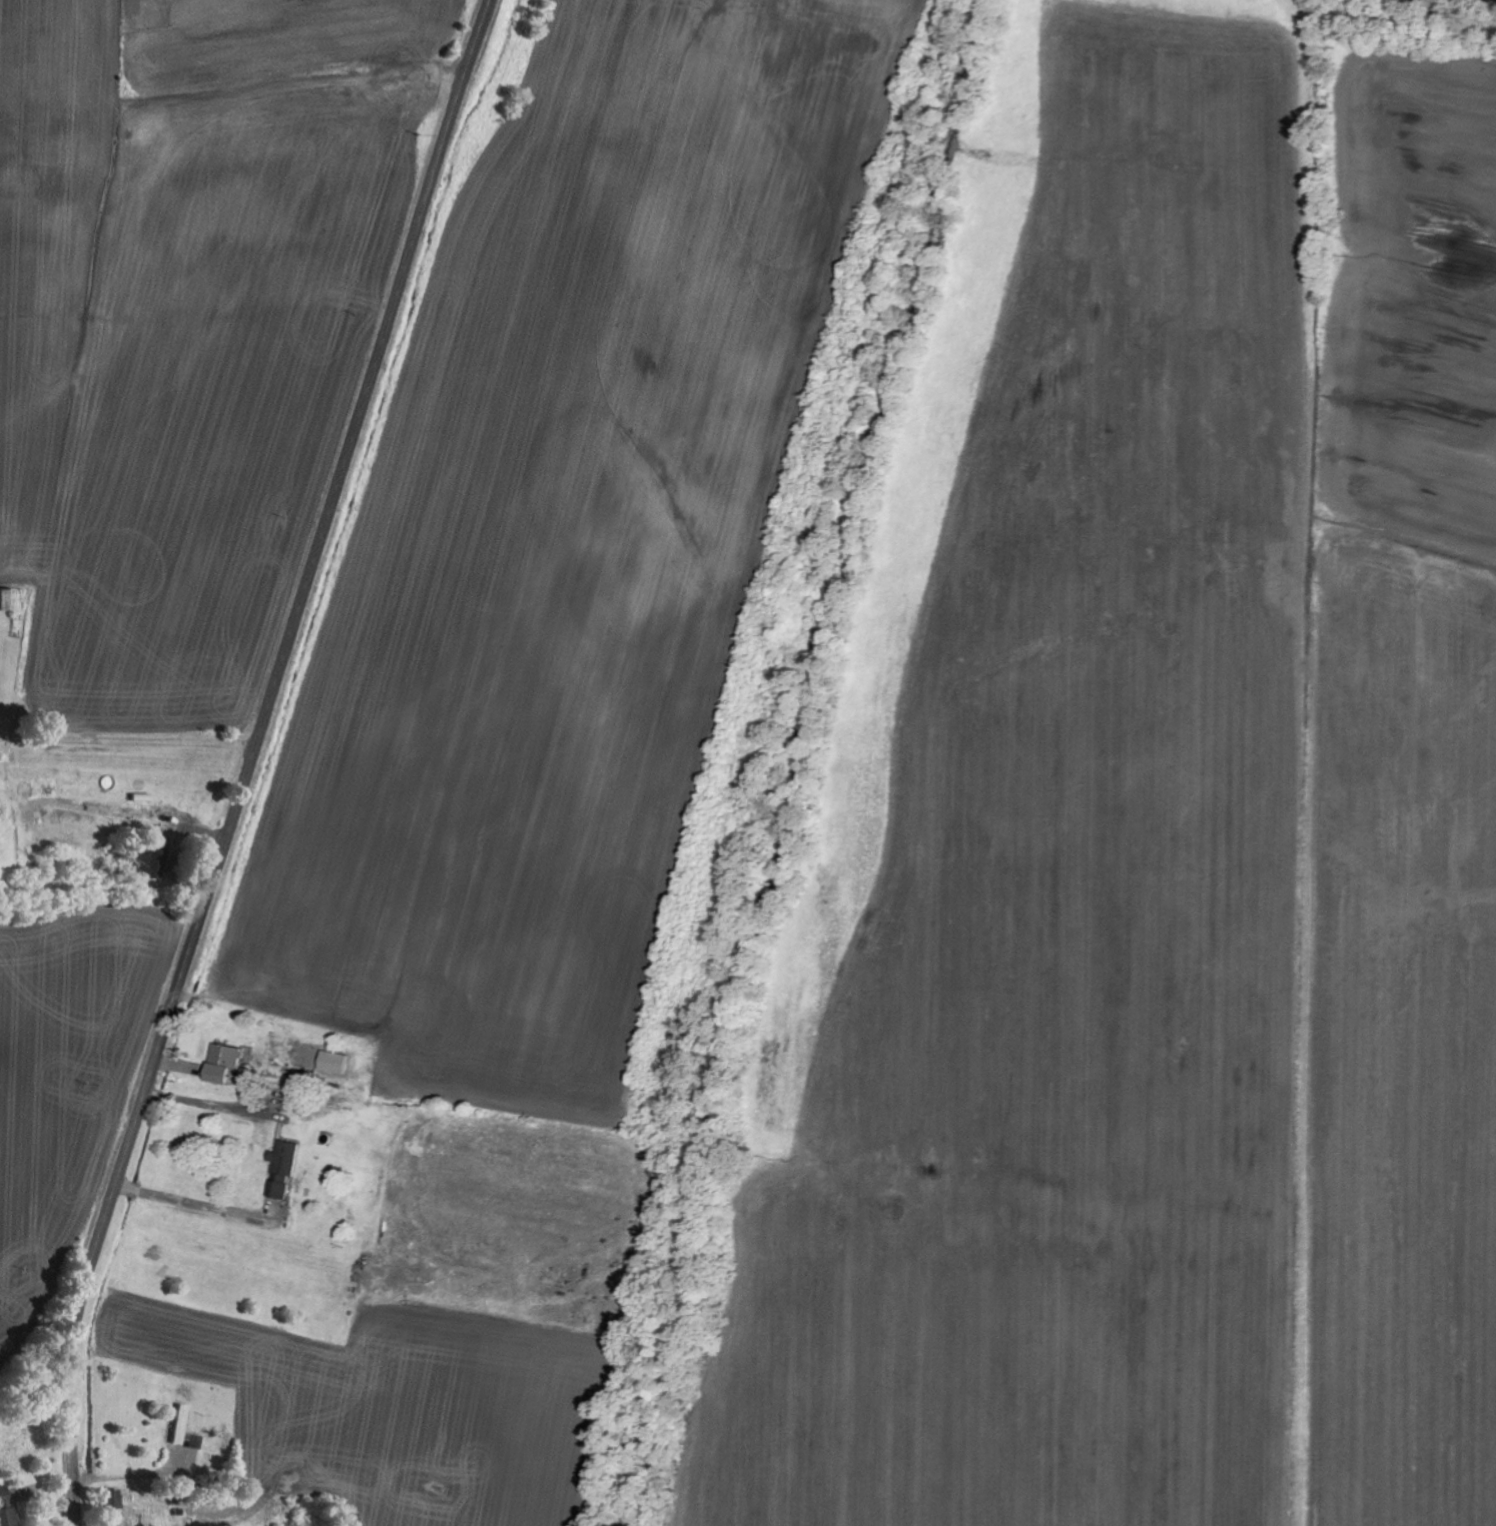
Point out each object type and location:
building: (10, 600)
road: (135, 700)
road: (251, 758)
building: (151, 854)
building: (331, 1063)
building: (221, 1064)
building: (281, 1170)
building: (177, 1426)
building: (191, 1442)
building: (107, 1500)
building: (3, 1508)

